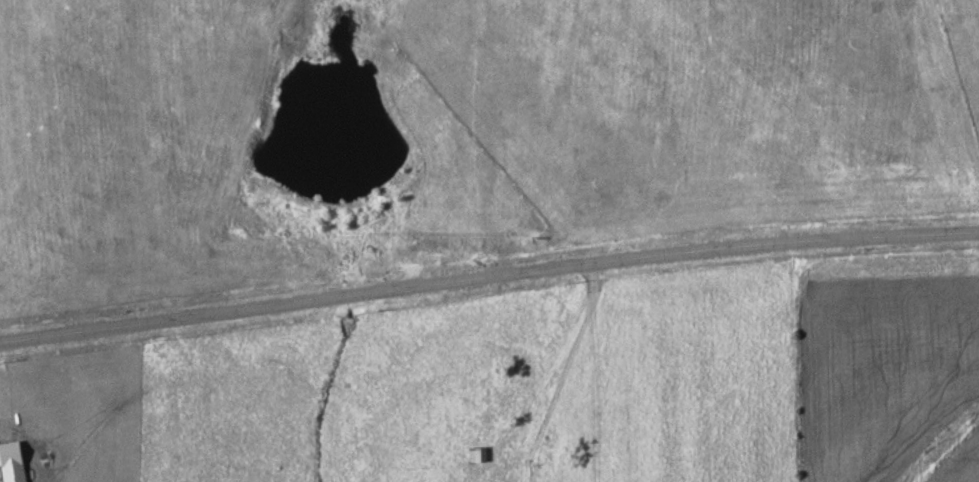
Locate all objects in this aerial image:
road: (488, 278)
building: (476, 453)

